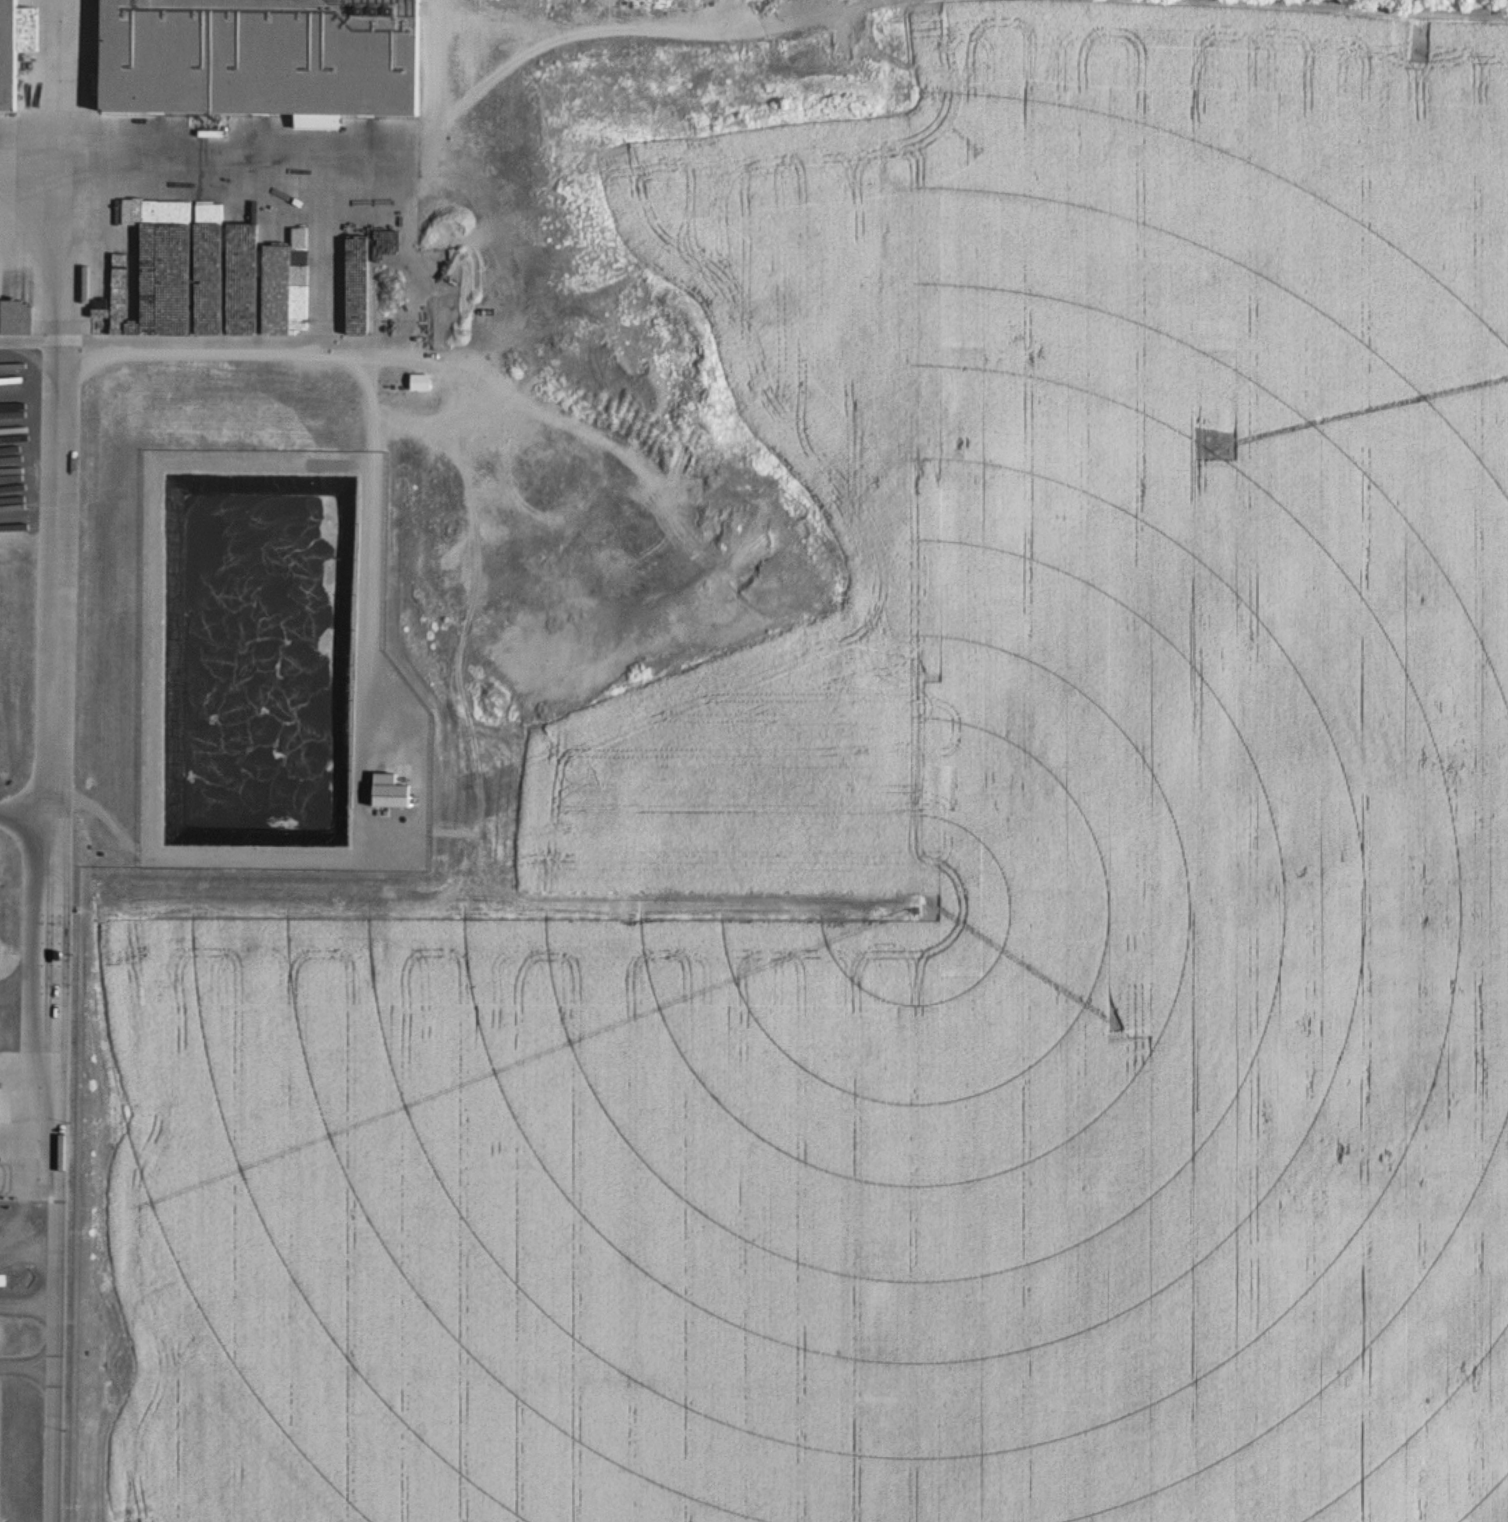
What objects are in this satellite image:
road: (26, 818)
road: (52, 829)
road: (26, 998)
road: (25, 1376)

